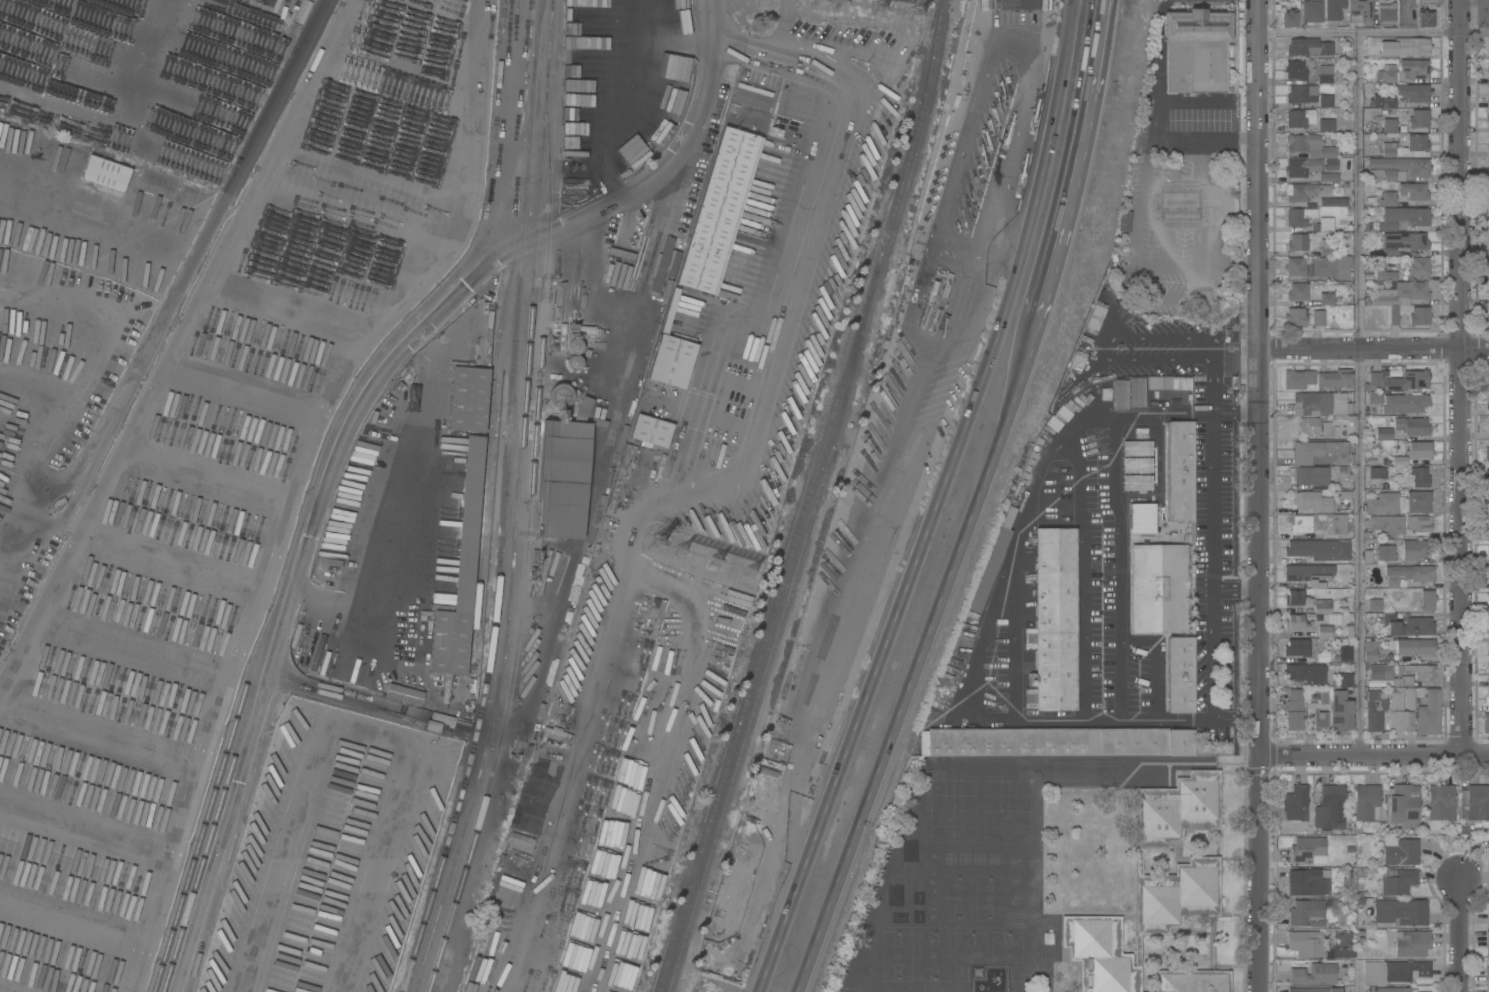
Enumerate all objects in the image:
power tower: (871, 2)
building: (1430, 2)
power tower: (898, 4)
building: (1018, 4)
building: (1333, 9)
building: (1311, 11)
building: (1358, 12)
building: (1387, 14)
building: (1488, 14)
building: (665, 17)
building: (1288, 19)
building: (1424, 19)
road: (1158, 20)
railway: (540, 31)
road: (1372, 35)
building: (1374, 40)
building: (1488, 43)
building: (1412, 46)
building: (1308, 47)
building: (1392, 49)
building: (569, 50)
building: (1196, 50)
building: (1488, 51)
building: (1414, 68)
building: (1488, 68)
road: (1157, 69)
building: (1298, 69)
building: (1324, 74)
building: (1389, 77)
building: (1414, 92)
building: (1301, 94)
road: (275, 97)
building: (751, 97)
building: (1488, 98)
building: (1325, 101)
building: (1383, 101)
building: (1402, 103)
road: (110, 114)
building: (1299, 118)
building: (1418, 118)
building: (1488, 118)
building: (1388, 125)
building: (1326, 126)
building: (4, 139)
road: (1231, 139)
building: (1307, 145)
building: (1407, 147)
building: (1488, 148)
road: (1079, 160)
building: (1488, 164)
building: (1302, 167)
building: (1398, 169)
building: (105, 173)
building: (1328, 177)
building: (157, 179)
road: (466, 183)
building: (1305, 191)
building: (1403, 193)
building: (952, 196)
building: (1488, 197)
road: (809, 201)
building: (1333, 202)
building: (719, 210)
building: (1299, 216)
building: (1403, 217)
building: (1488, 217)
road: (97, 222)
building: (1322, 225)
building: (1297, 242)
building: (1403, 242)
building: (1488, 246)
building: (663, 264)
road: (1233, 265)
building: (1418, 266)
building: (1318, 267)
road: (1177, 268)
building: (1488, 269)
building: (1384, 274)
building: (666, 288)
building: (1297, 291)
building: (1398, 297)
building: (1326, 299)
building: (670, 311)
building: (1488, 315)
building: (1419, 316)
building: (1295, 317)
building: (1318, 318)
building: (934, 322)
building: (1220, 322)
building: (571, 330)
road: (150, 333)
road: (1214, 343)
building: (574, 346)
building: (426, 347)
road: (1102, 348)
road: (1236, 351)
road: (1372, 351)
road: (626, 352)
road: (1214, 354)
building: (672, 361)
building: (573, 362)
road: (1461, 374)
building: (1297, 379)
building: (1487, 379)
building: (1332, 380)
building: (1409, 381)
building: (1372, 382)
building: (1167, 383)
road: (1211, 383)
building: (1135, 392)
road: (1360, 392)
building: (1118, 394)
building: (467, 395)
building: (558, 396)
building: (1374, 397)
building: (1487, 402)
building: (1404, 403)
building: (1311, 404)
building: (1338, 404)
building: (1348, 409)
railway: (492, 414)
building: (1337, 418)
road: (350, 424)
building: (1309, 426)
building: (1416, 427)
building: (1324, 429)
building: (651, 430)
building: (1335, 433)
building: (1383, 434)
building: (1335, 447)
building: (1136, 448)
building: (1418, 450)
building: (1306, 452)
building: (1486, 453)
building: (1341, 459)
building: (1399, 460)
building: (1137, 465)
building: (1179, 471)
building: (1375, 473)
building: (563, 475)
building: (1310, 476)
building: (1419, 477)
building: (1485, 479)
building: (1136, 483)
road: (404, 496)
road: (1256, 496)
railway: (804, 497)
road: (1210, 498)
building: (1342, 498)
railway: (505, 501)
railway: (518, 501)
road: (935, 501)
building: (1418, 501)
building: (1488, 501)
building: (1310, 502)
building: (1382, 503)
railway: (309, 510)
building: (1135, 521)
building: (1151, 521)
building: (1418, 523)
building: (1338, 524)
building: (1386, 524)
building: (1304, 528)
railway: (528, 539)
power tower: (656, 545)
power tower: (685, 546)
power tower: (715, 548)
building: (1318, 549)
building: (1415, 551)
building: (1385, 553)
building: (1367, 557)
power tower: (741, 559)
building: (992, 561)
road: (1118, 563)
road: (1082, 571)
building: (1306, 571)
building: (460, 573)
building: (1408, 574)
building: (1158, 588)
road: (1233, 590)
building: (1294, 597)
building: (1427, 601)
building: (1374, 605)
building: (1321, 606)
road: (986, 614)
building: (1054, 620)
building: (1297, 622)
building: (1407, 625)
building: (1486, 625)
railway: (773, 632)
building: (1324, 632)
building: (1411, 646)
building: (1296, 648)
building: (1488, 648)
building: (1369, 652)
building: (1344, 654)
road: (919, 655)
road: (1210, 655)
road: (1153, 663)
building: (1379, 671)
building: (1417, 671)
building: (1305, 673)
building: (1488, 673)
building: (1180, 675)
building: (1345, 679)
building: (1402, 681)
road: (336, 692)
building: (404, 695)
building: (1408, 698)
building: (1486, 699)
building: (1317, 703)
building: (1293, 710)
building: (1340, 712)
building: (1375, 712)
building: (1399, 713)
building: (1428, 714)
building: (441, 718)
building: (1319, 721)
building: (1485, 723)
building: (432, 726)
building: (1057, 742)
road: (1372, 750)
railway: (217, 783)
railway: (248, 787)
building: (1366, 802)
building: (1441, 802)
building: (1474, 803)
building: (1294, 805)
building: (1403, 805)
building: (1329, 806)
building: (1307, 850)
building: (1399, 850)
building: (1347, 879)
building: (1397, 881)
building: (1307, 883)
building: (1152, 885)
building: (1400, 912)
building: (1306, 913)
building: (1488, 916)
road: (1459, 936)
building: (1411, 943)
building: (1304, 944)
building: (1487, 944)
building: (1343, 953)
building: (500, 954)
building: (1392, 971)
building: (1314, 974)
building: (1487, 974)
road: (1356, 977)
building: (1192, 980)
building: (1488, 989)
building: (1314, 990)
building: (1394, 990)

